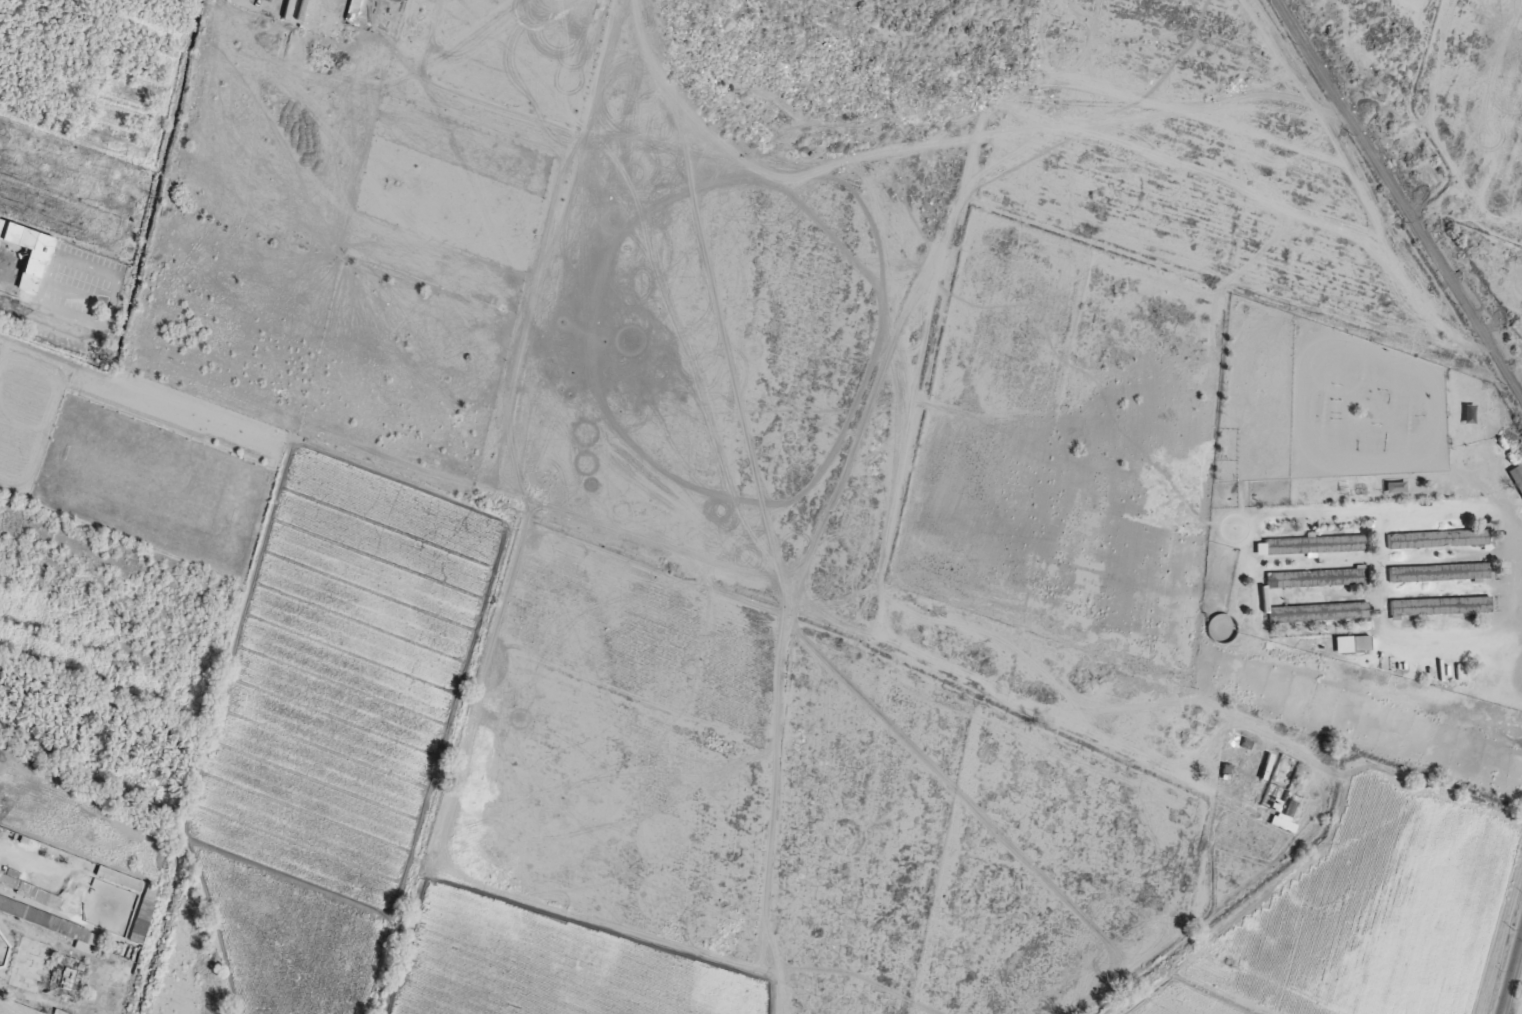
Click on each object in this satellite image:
crop: (13, 449)
crop: (147, 485)
crop: (334, 733)
crop: (1369, 923)
road: (1510, 971)
crop: (175, 974)
crop: (483, 981)

